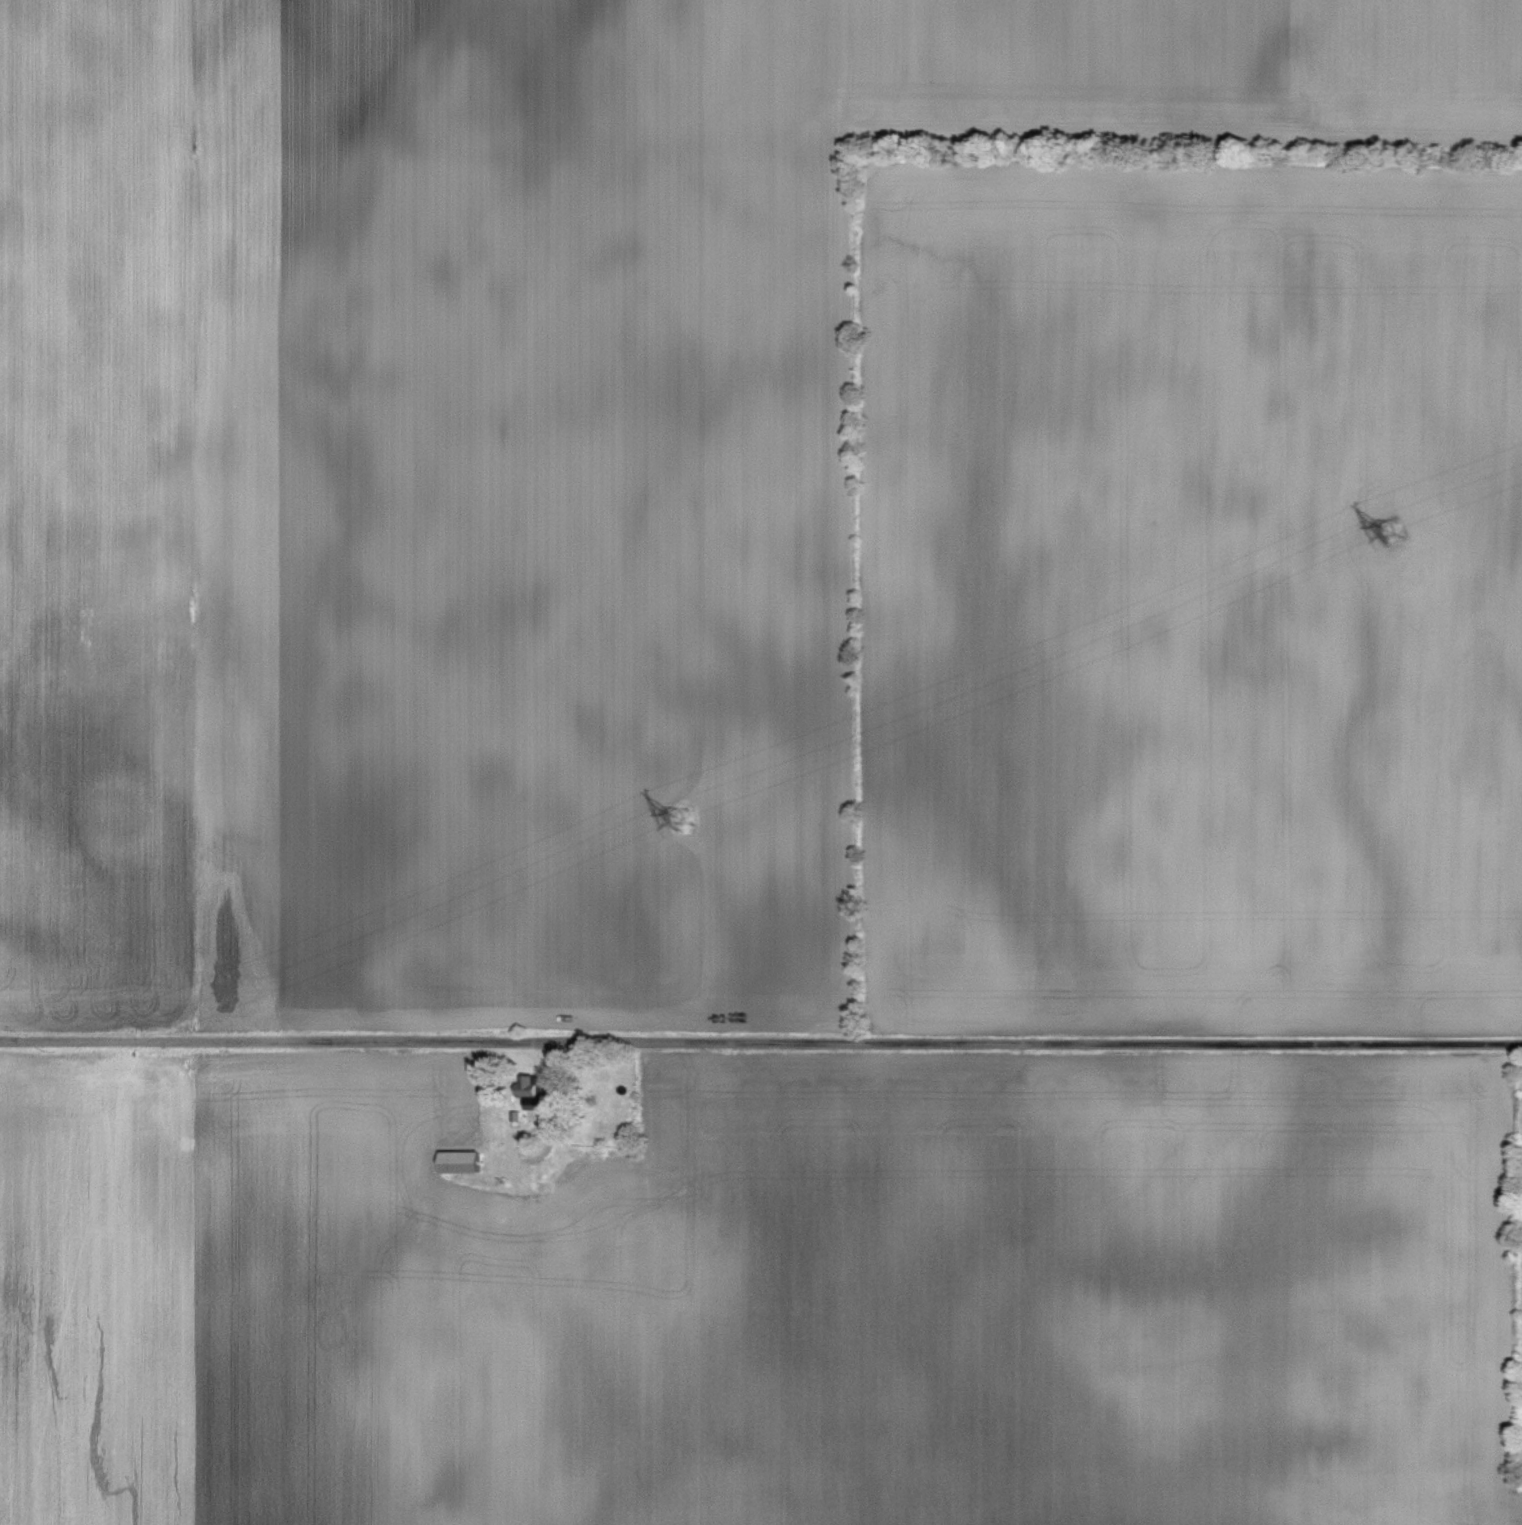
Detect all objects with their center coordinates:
power tower: (1389, 532)
power tower: (679, 819)
road: (760, 1043)
building: (529, 1094)
building: (457, 1163)
building: (535, 1192)

